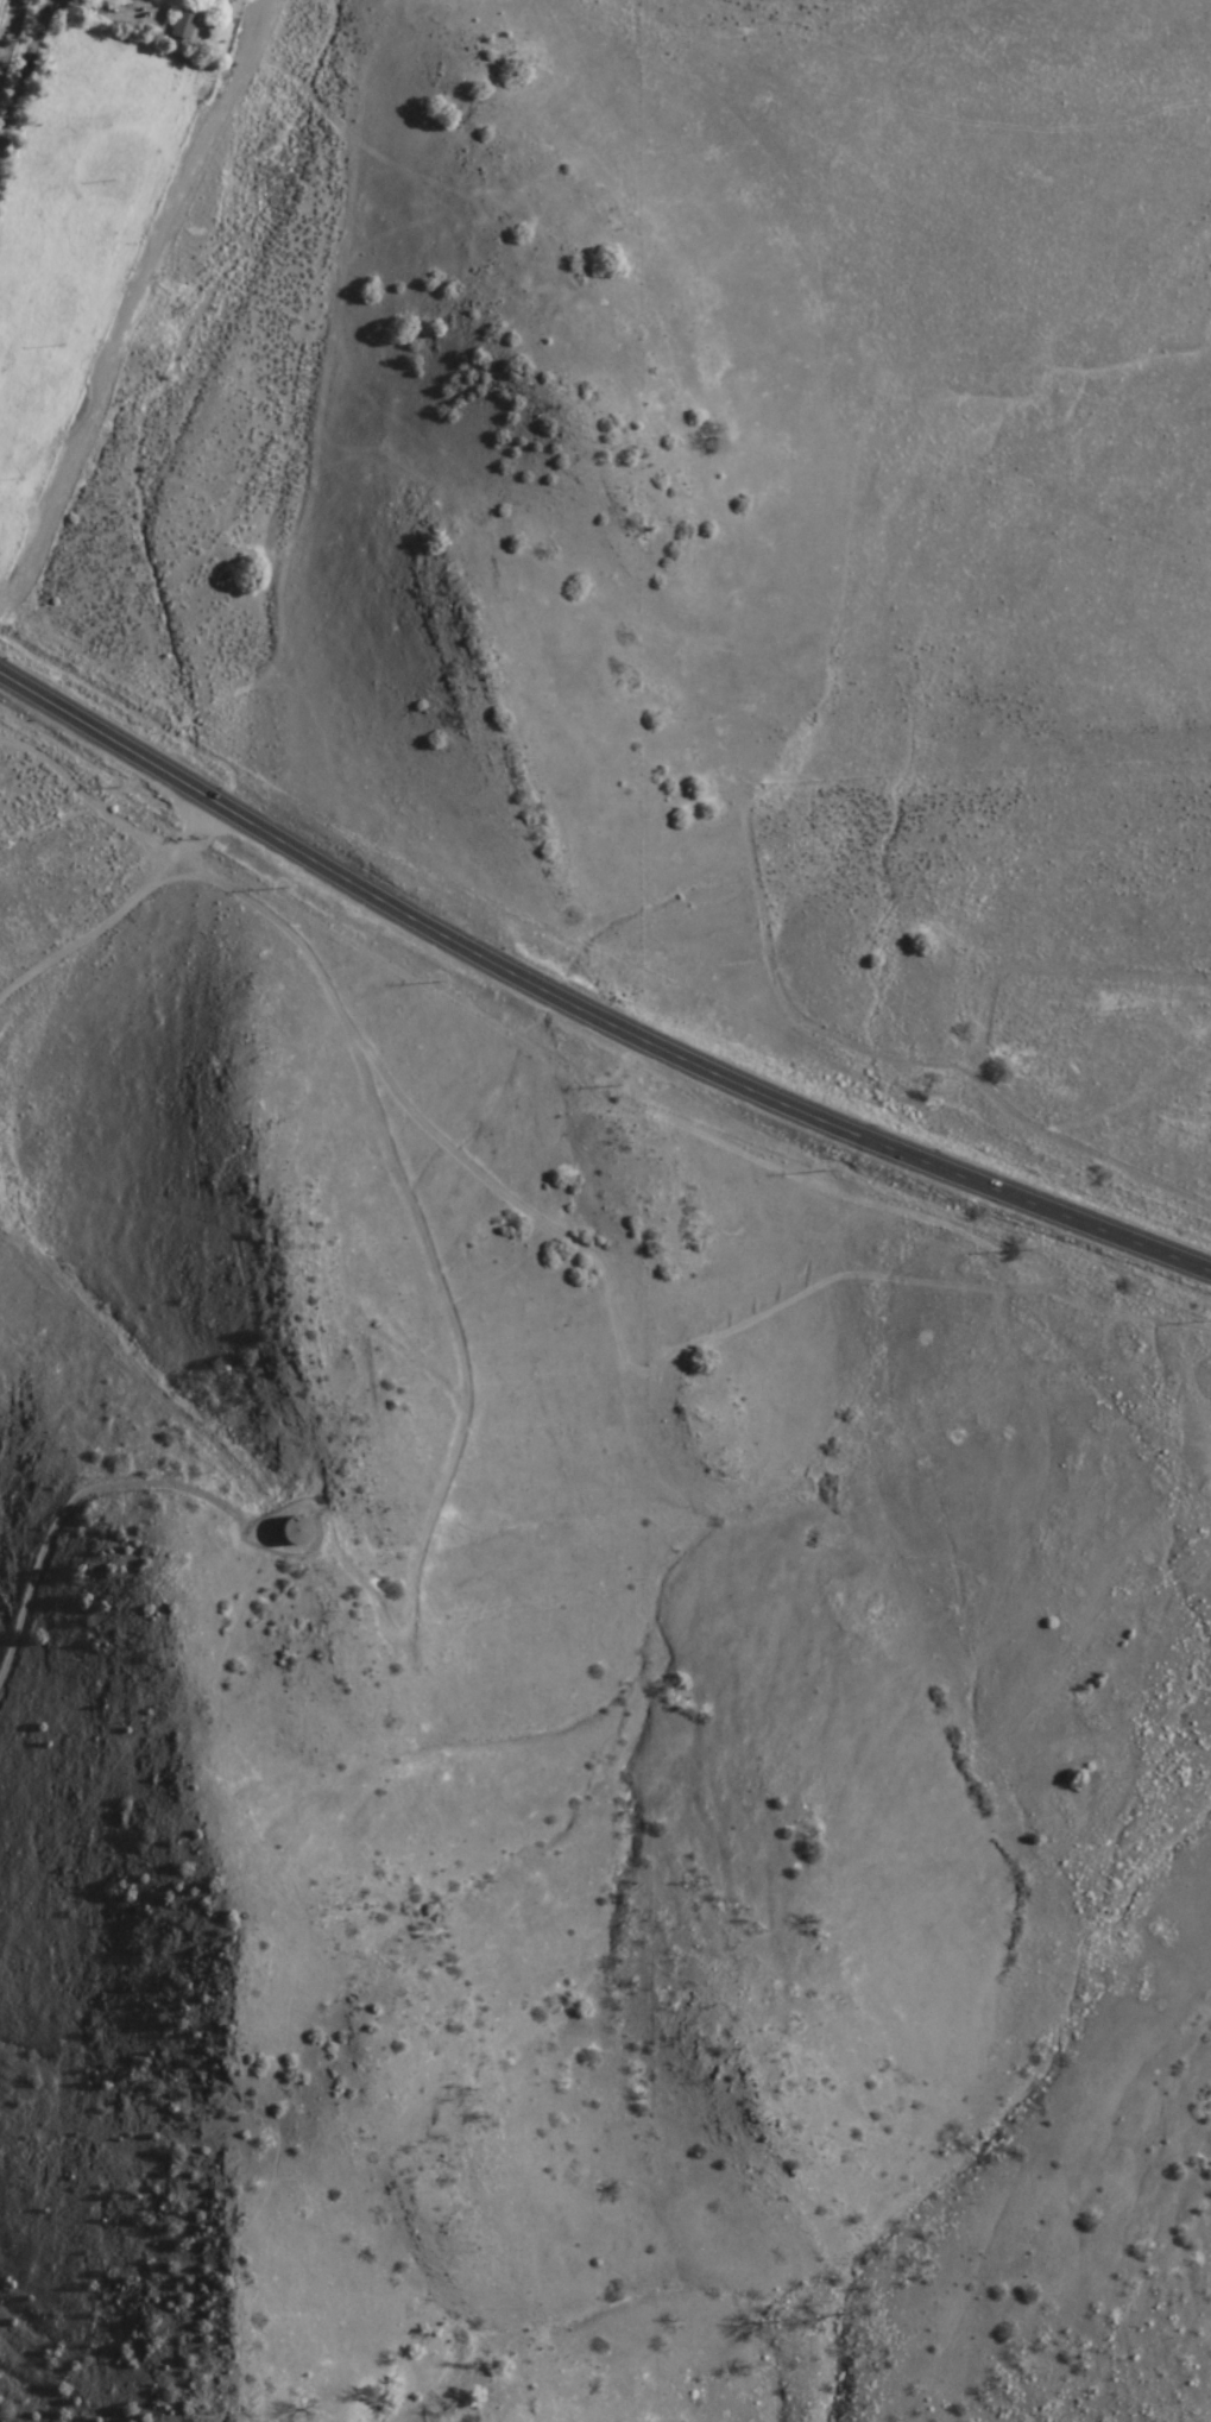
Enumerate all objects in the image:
building: (152, 1)
building: (185, 27)
road: (13, 40)
road: (26, 81)
road: (585, 1016)
building: (301, 1528)

